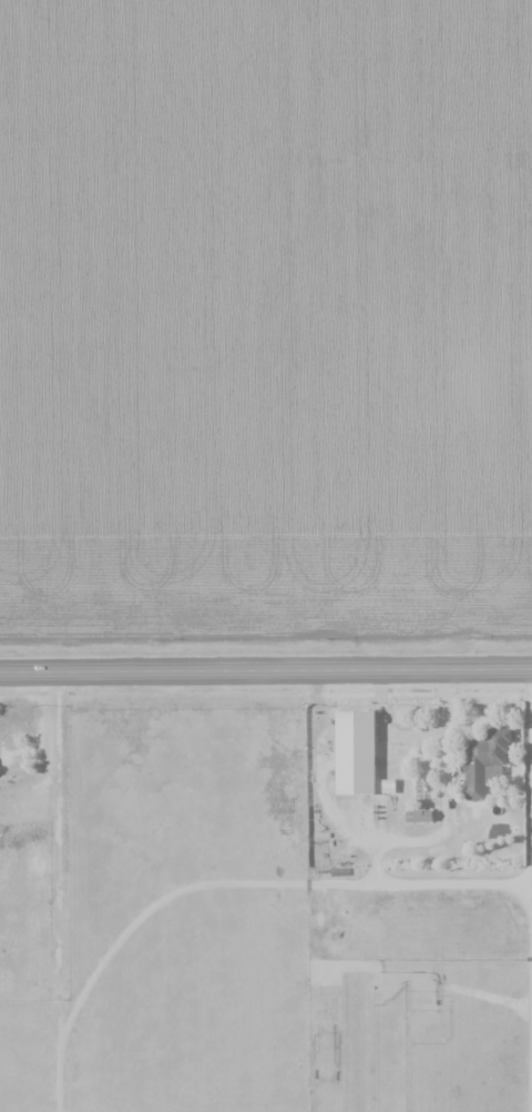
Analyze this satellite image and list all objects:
road: (266, 665)
building: (357, 751)
building: (485, 759)

